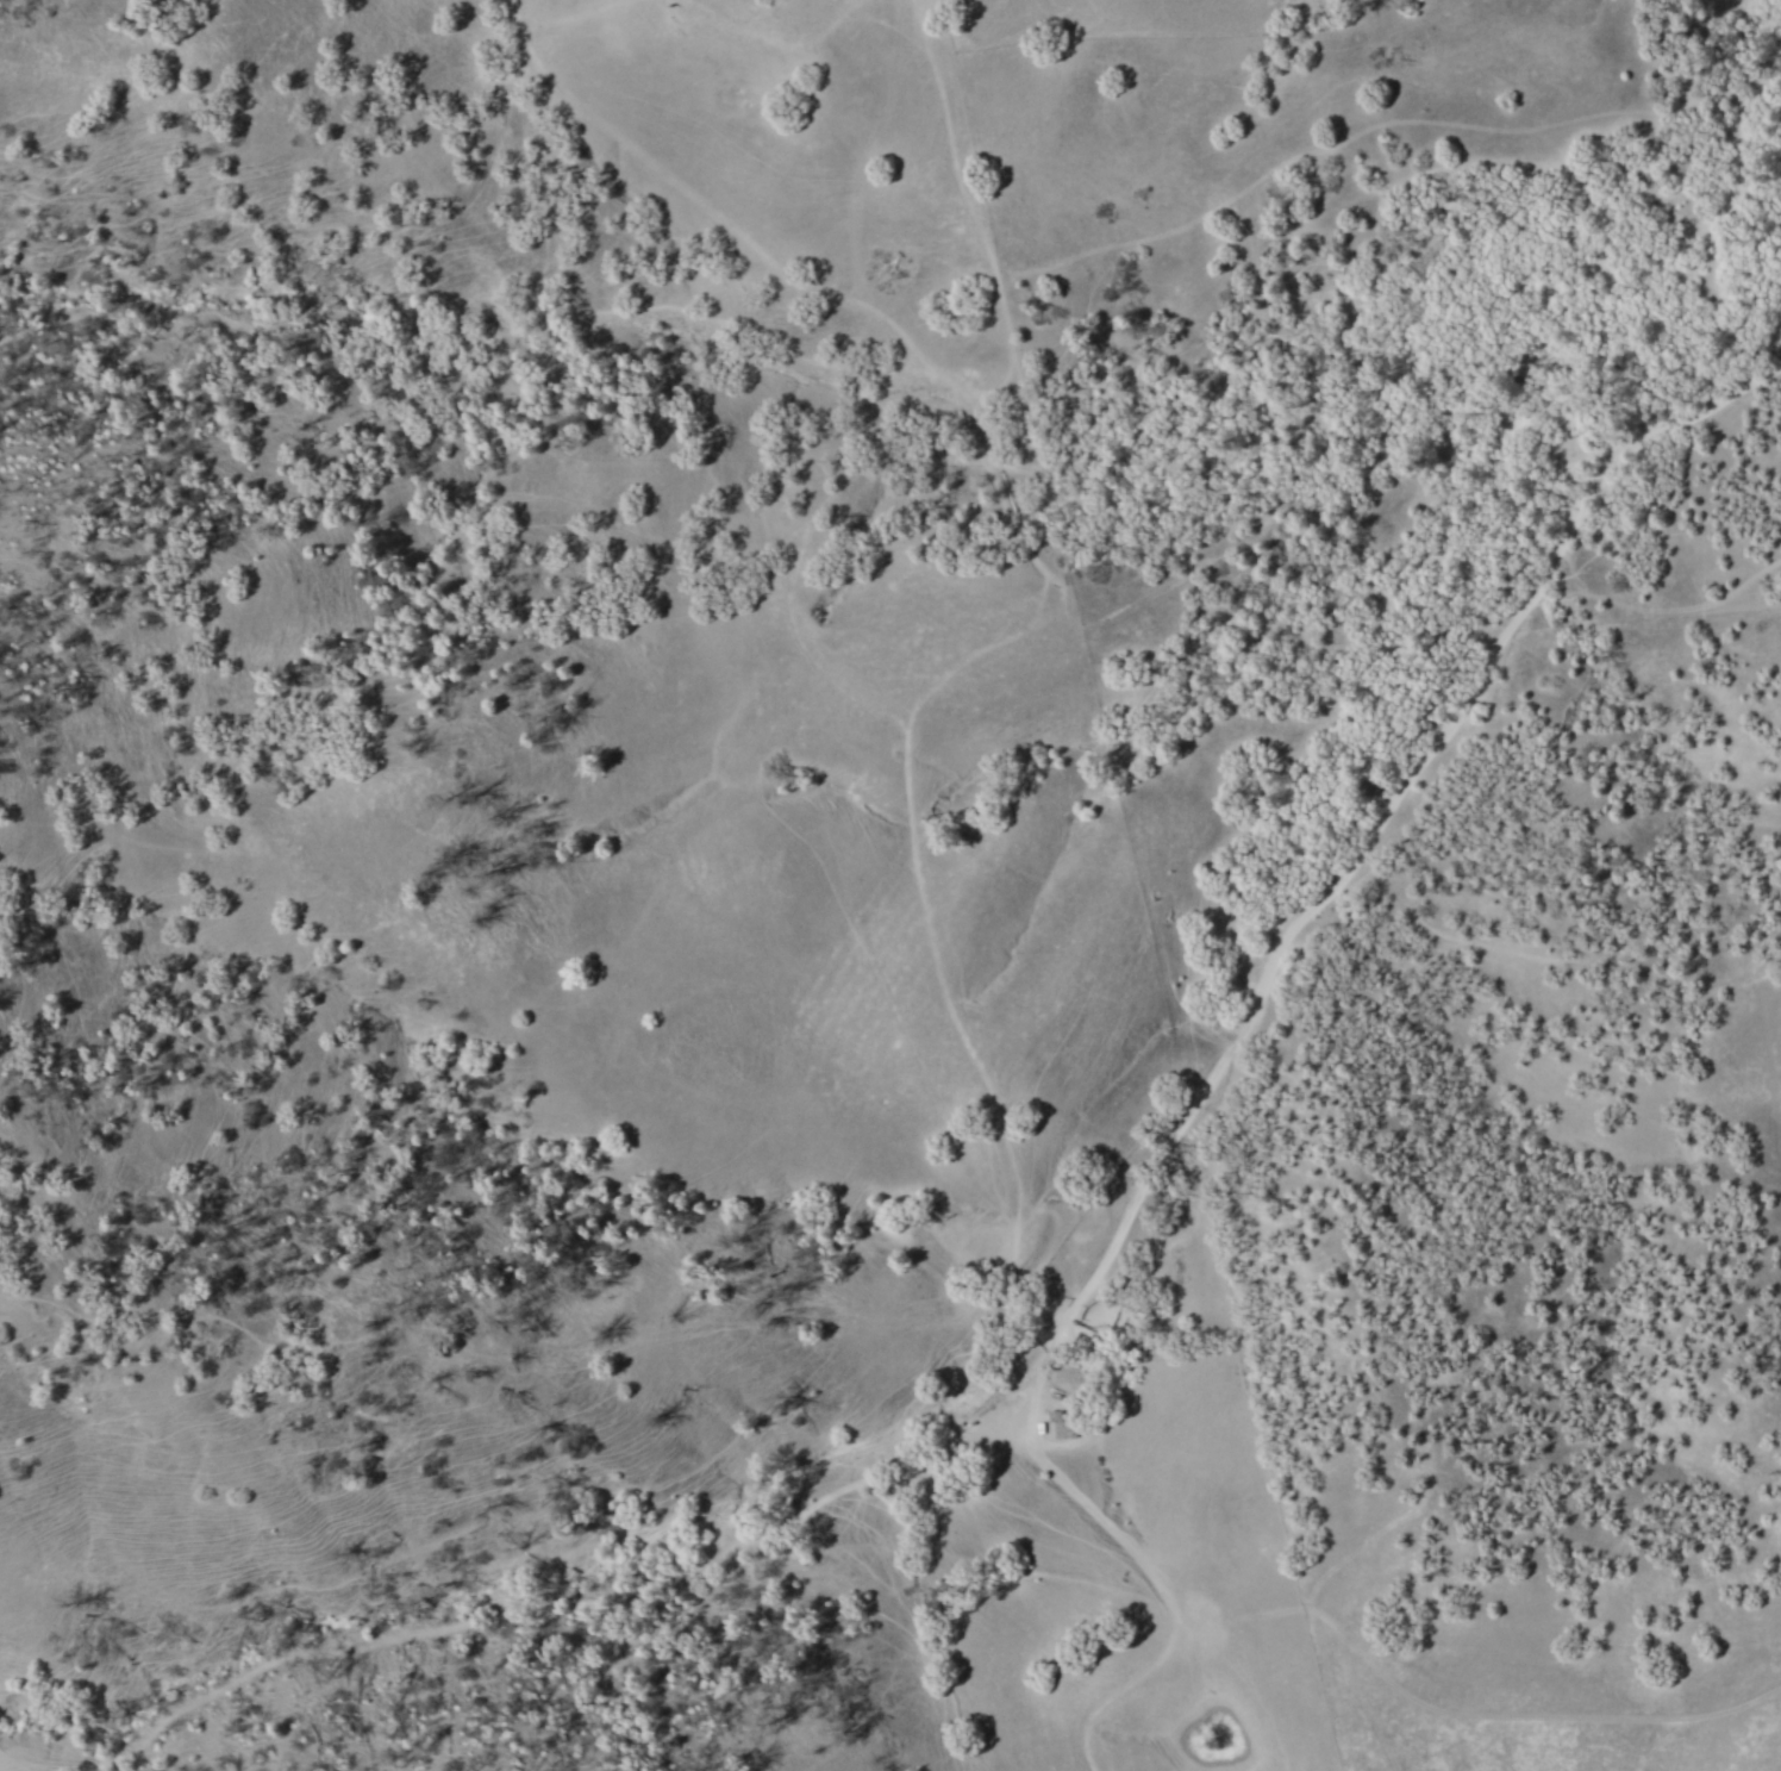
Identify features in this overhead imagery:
building: (1058, 1426)

